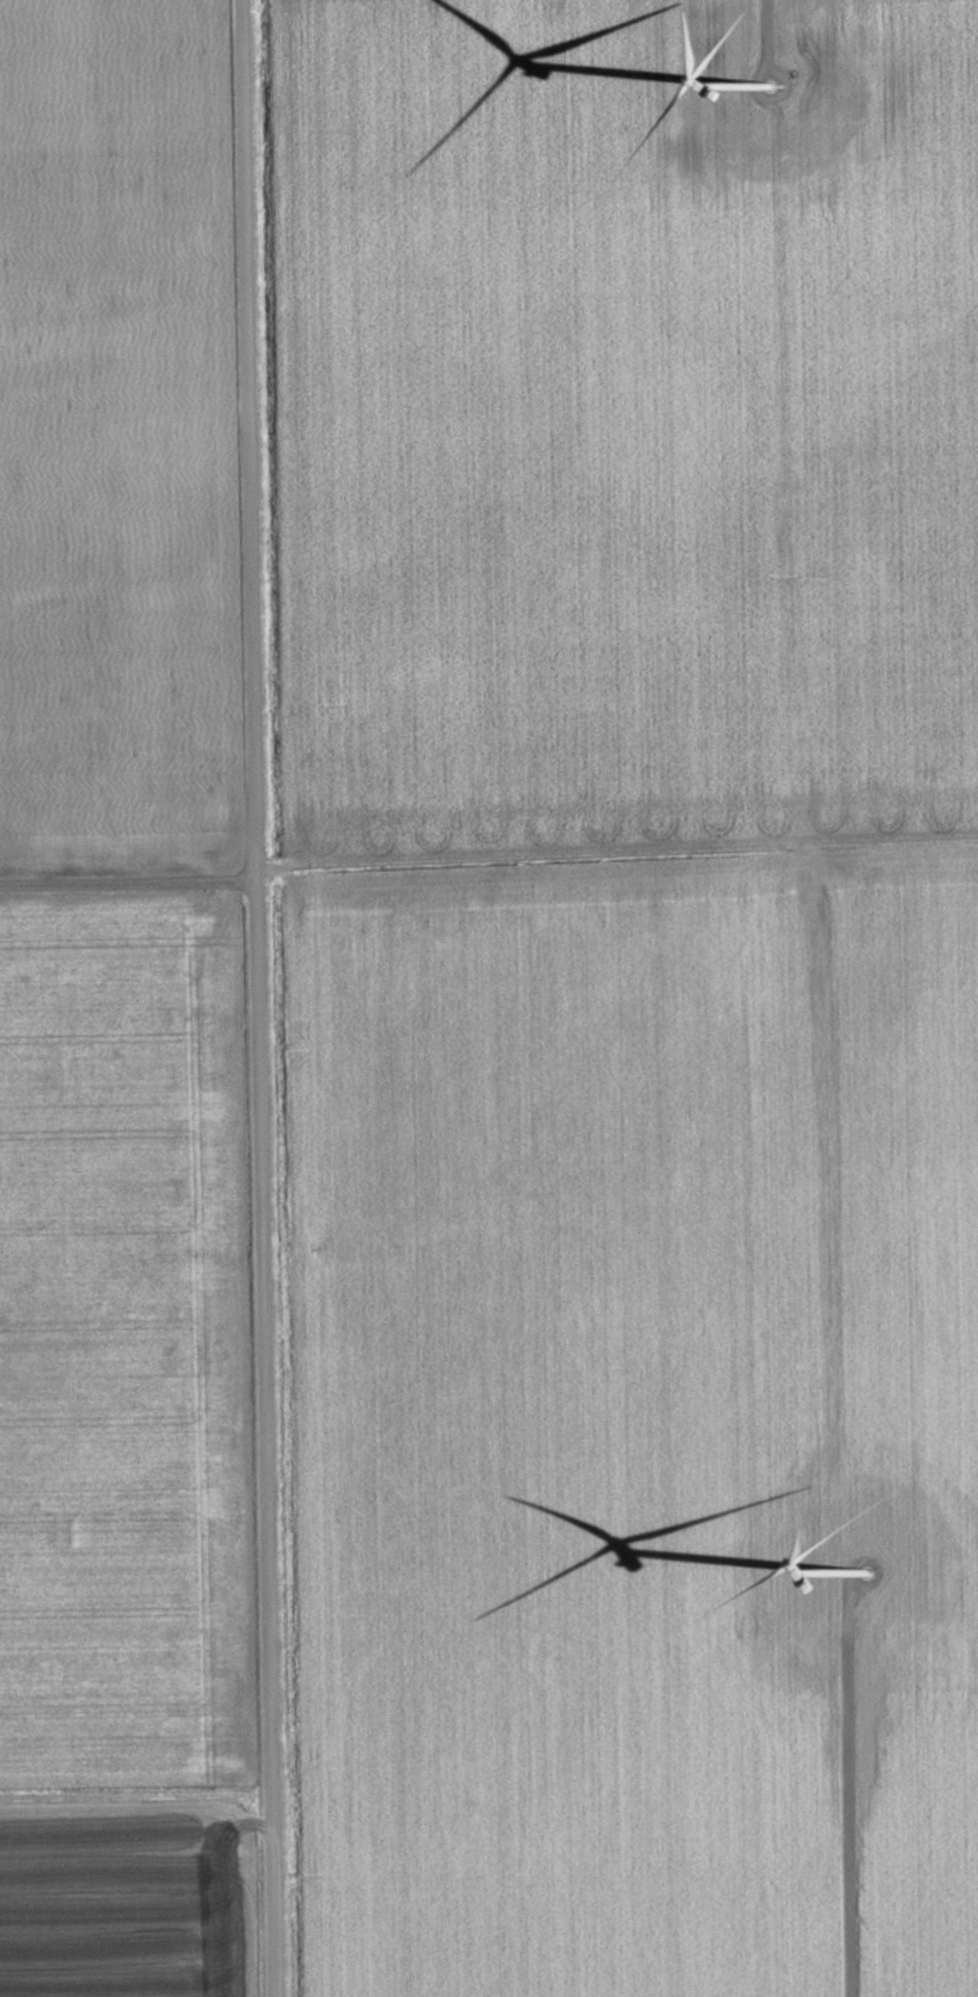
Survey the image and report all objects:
wind turbine: (773, 88)
road: (270, 998)
wind turbine: (865, 1577)

